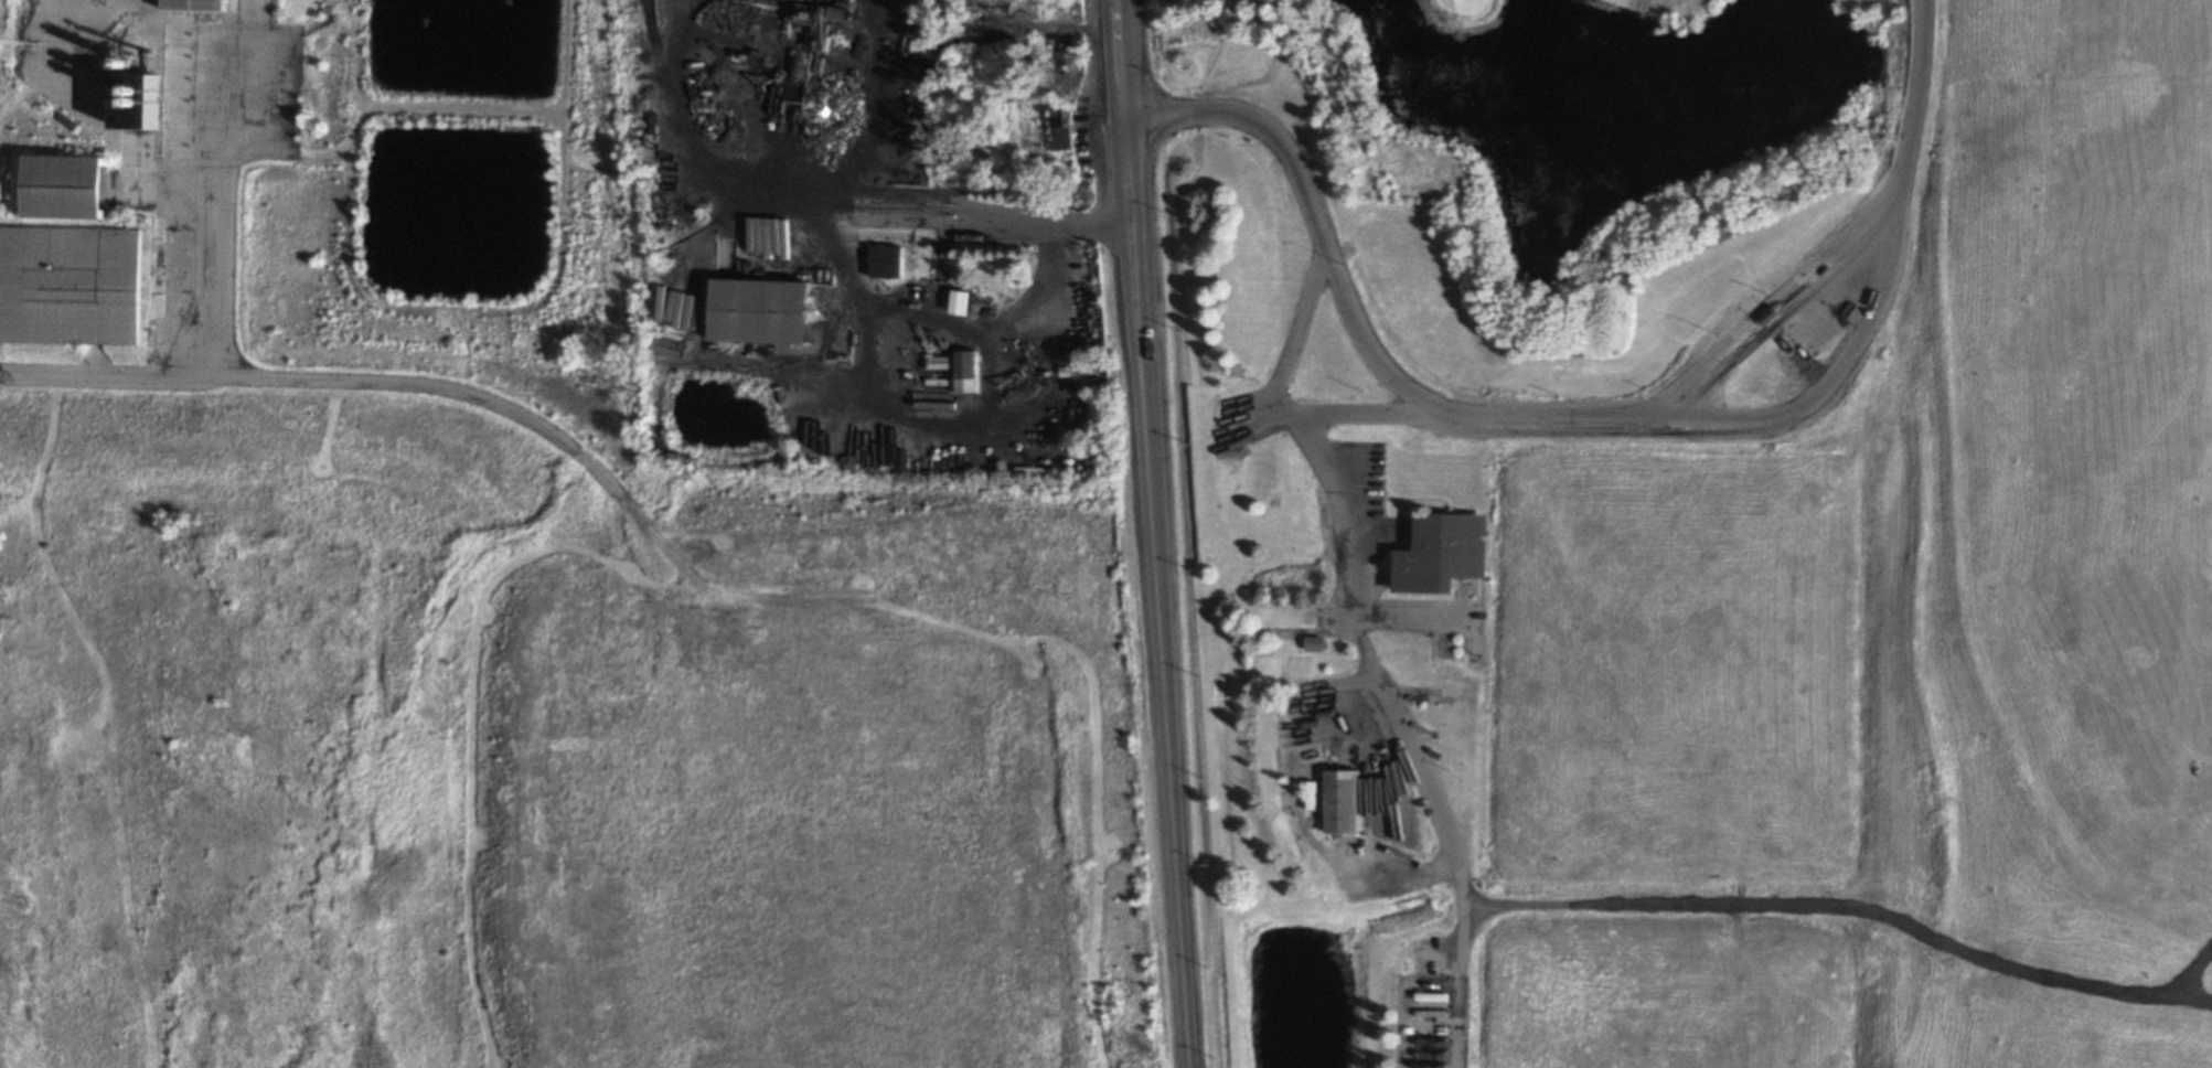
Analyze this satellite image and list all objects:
building: (203, 4)
building: (922, 47)
building: (136, 62)
building: (141, 99)
building: (1064, 128)
park: (1564, 159)
building: (74, 189)
road: (1108, 222)
road: (832, 257)
building: (886, 260)
building: (73, 285)
building: (960, 301)
building: (756, 311)
building: (942, 362)
building: (966, 371)
road: (181, 372)
road: (1285, 418)
road: (1599, 423)
road: (1158, 533)
landfill: (2063, 546)
building: (1440, 553)
building: (1315, 642)
road: (1400, 738)
building: (1342, 801)
road: (1851, 905)

